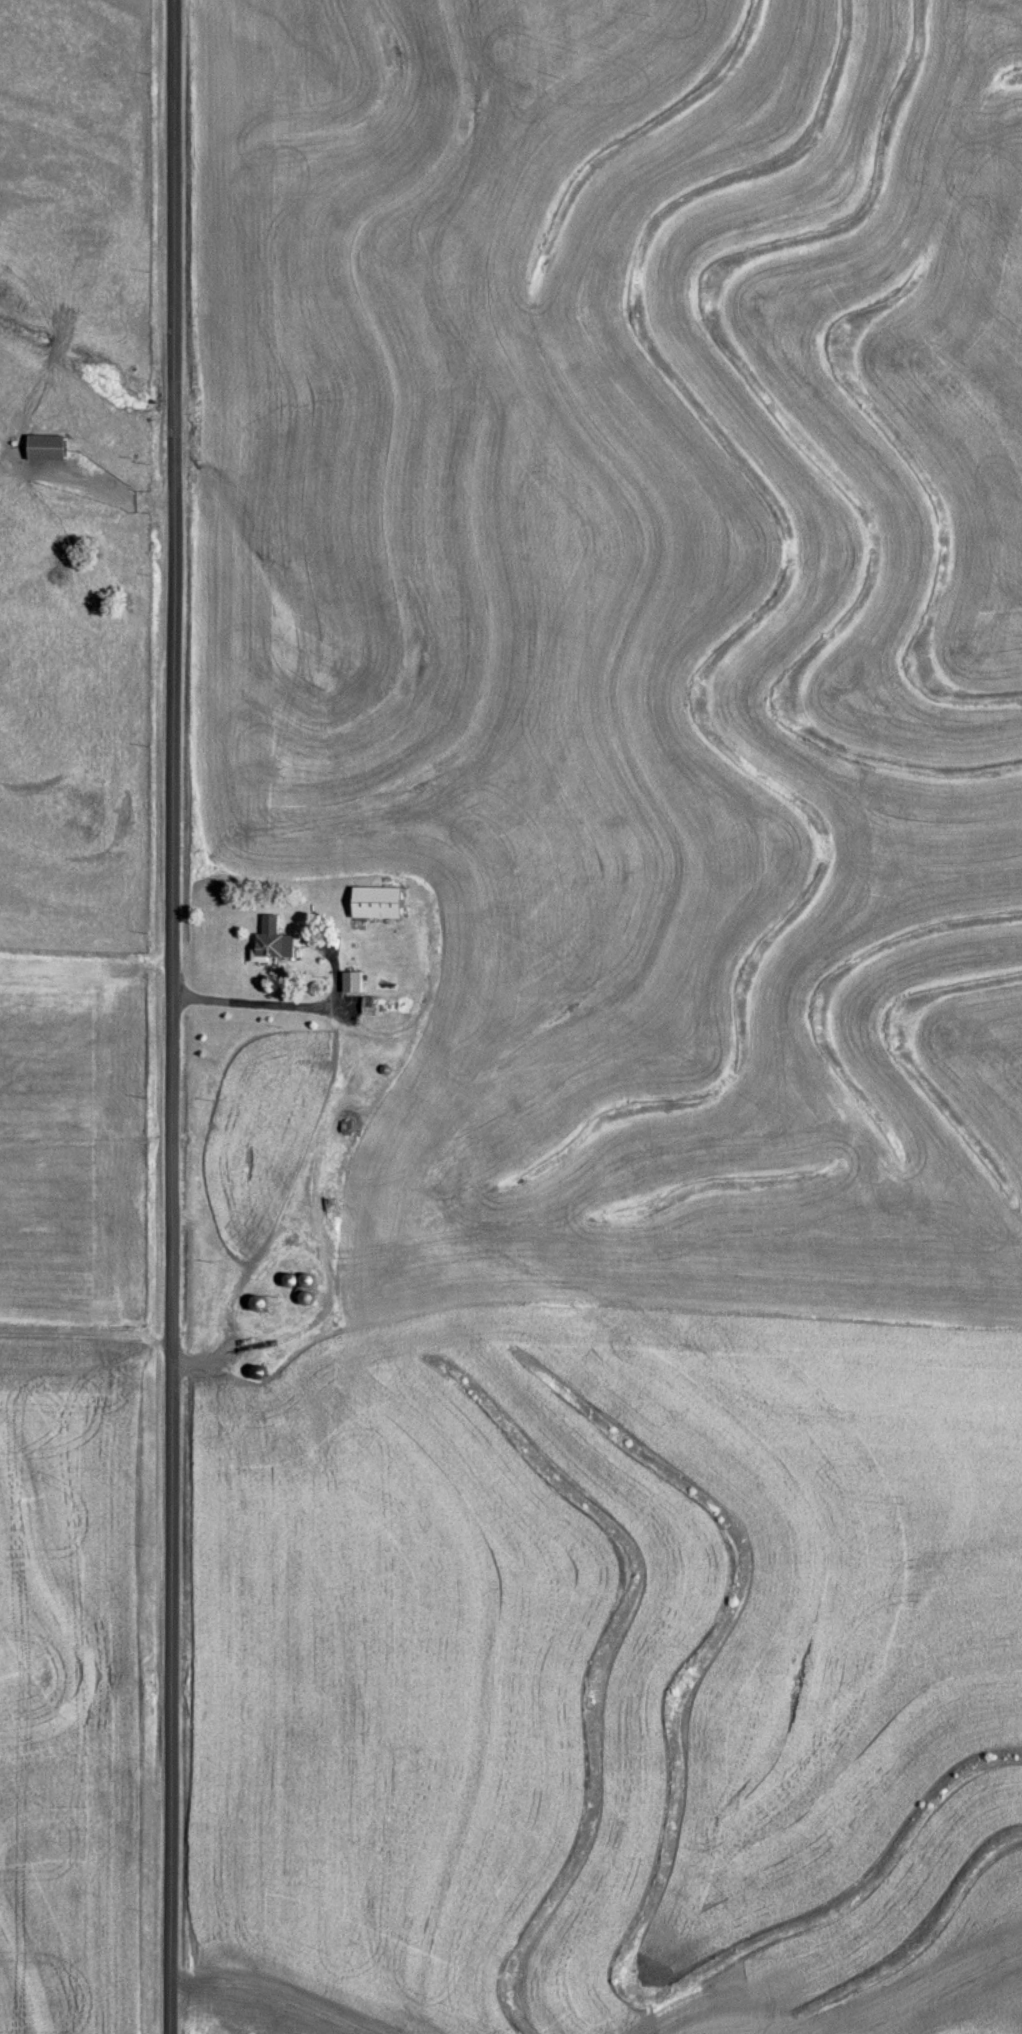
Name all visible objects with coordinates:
building: (46, 445)
building: (377, 901)
building: (271, 941)
building: (351, 982)
building: (367, 1004)
road: (161, 1017)
building: (258, 1302)

